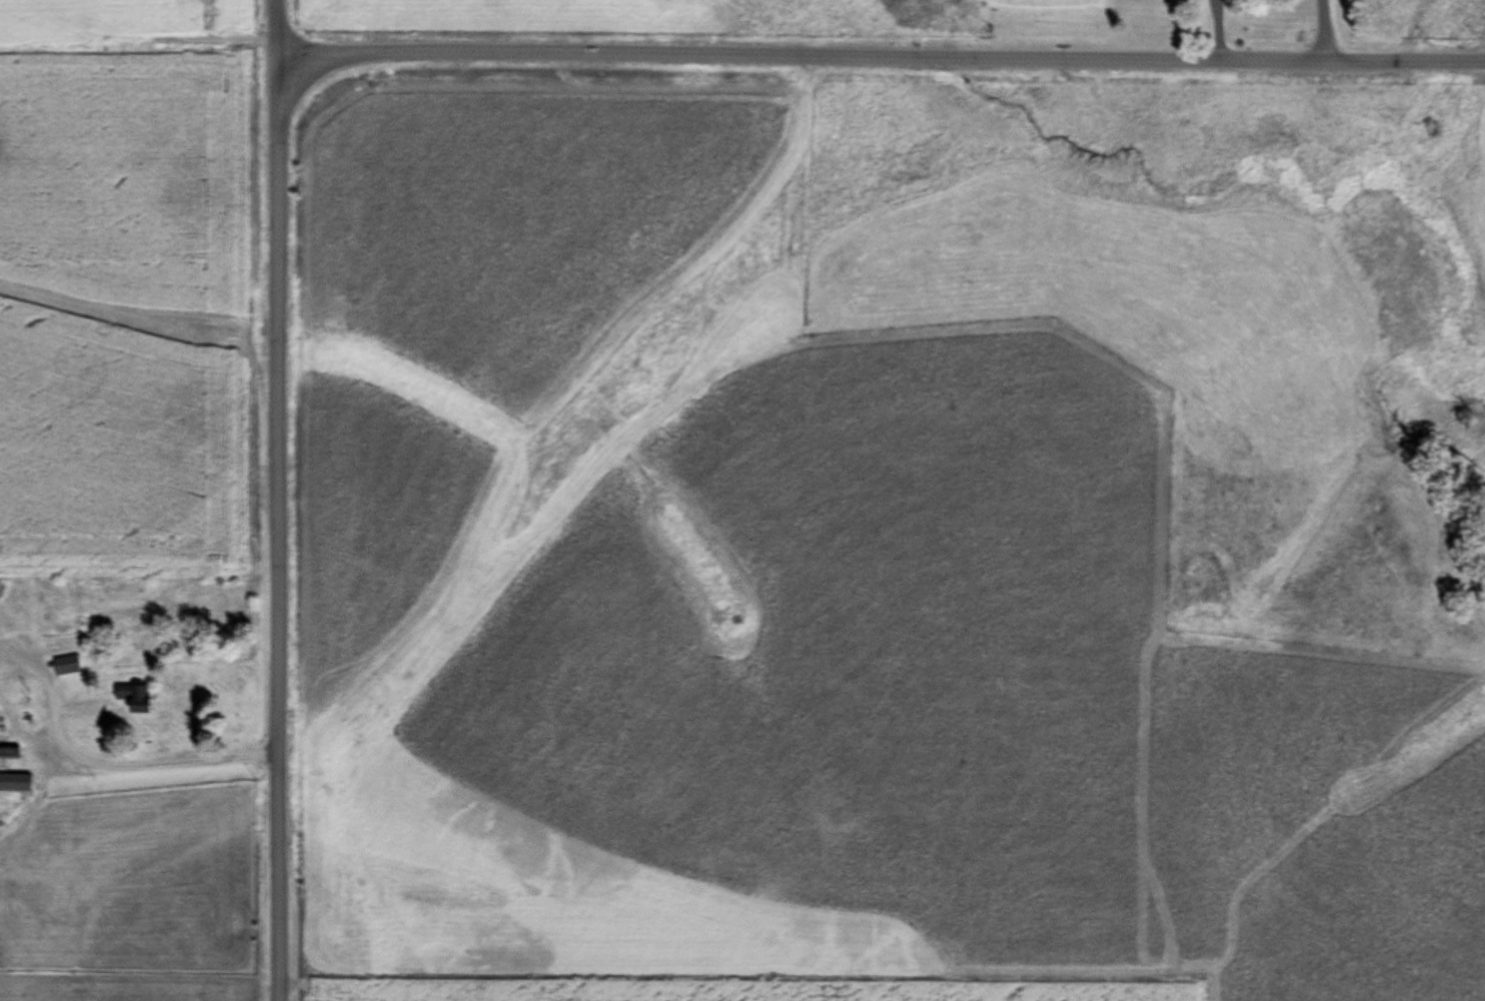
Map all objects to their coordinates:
road: (880, 59)
road: (274, 500)
building: (60, 595)
building: (2, 624)
building: (66, 666)
building: (135, 699)
building: (9, 753)
building: (14, 784)

